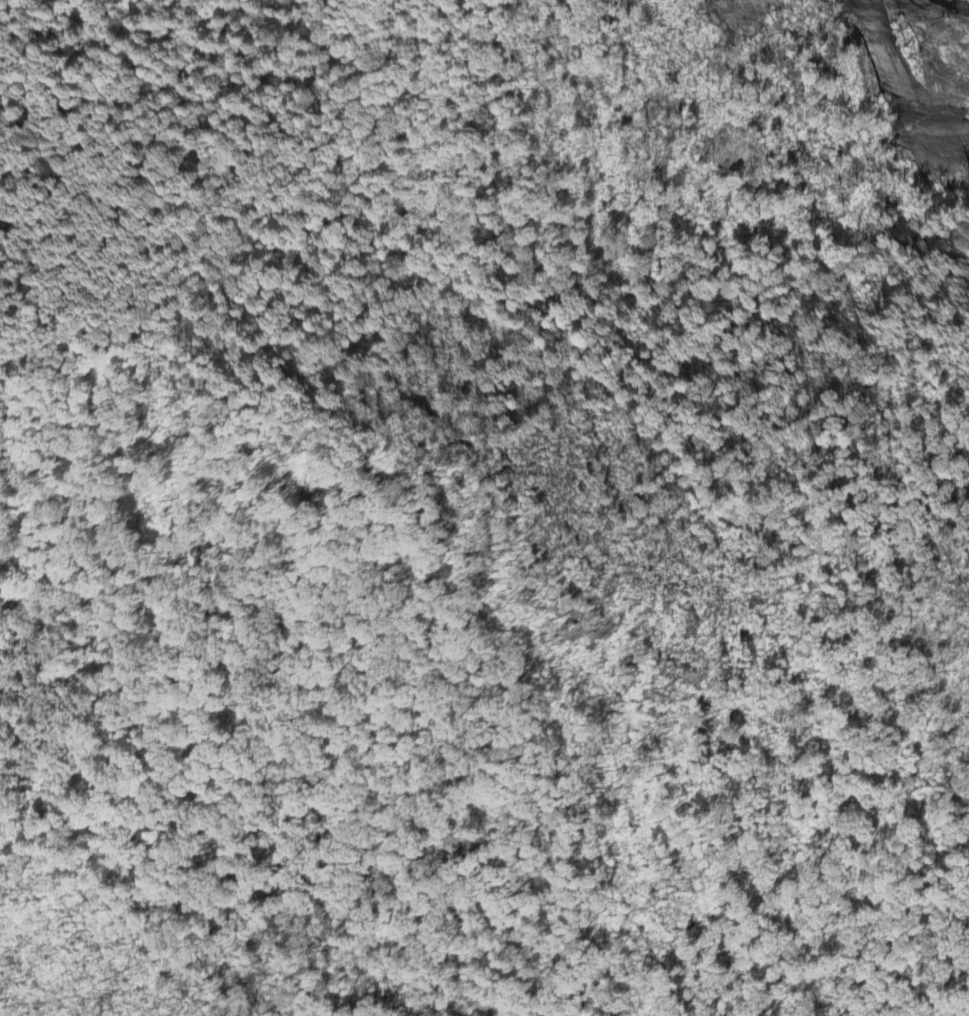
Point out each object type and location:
road: (703, 477)
park: (484, 508)

